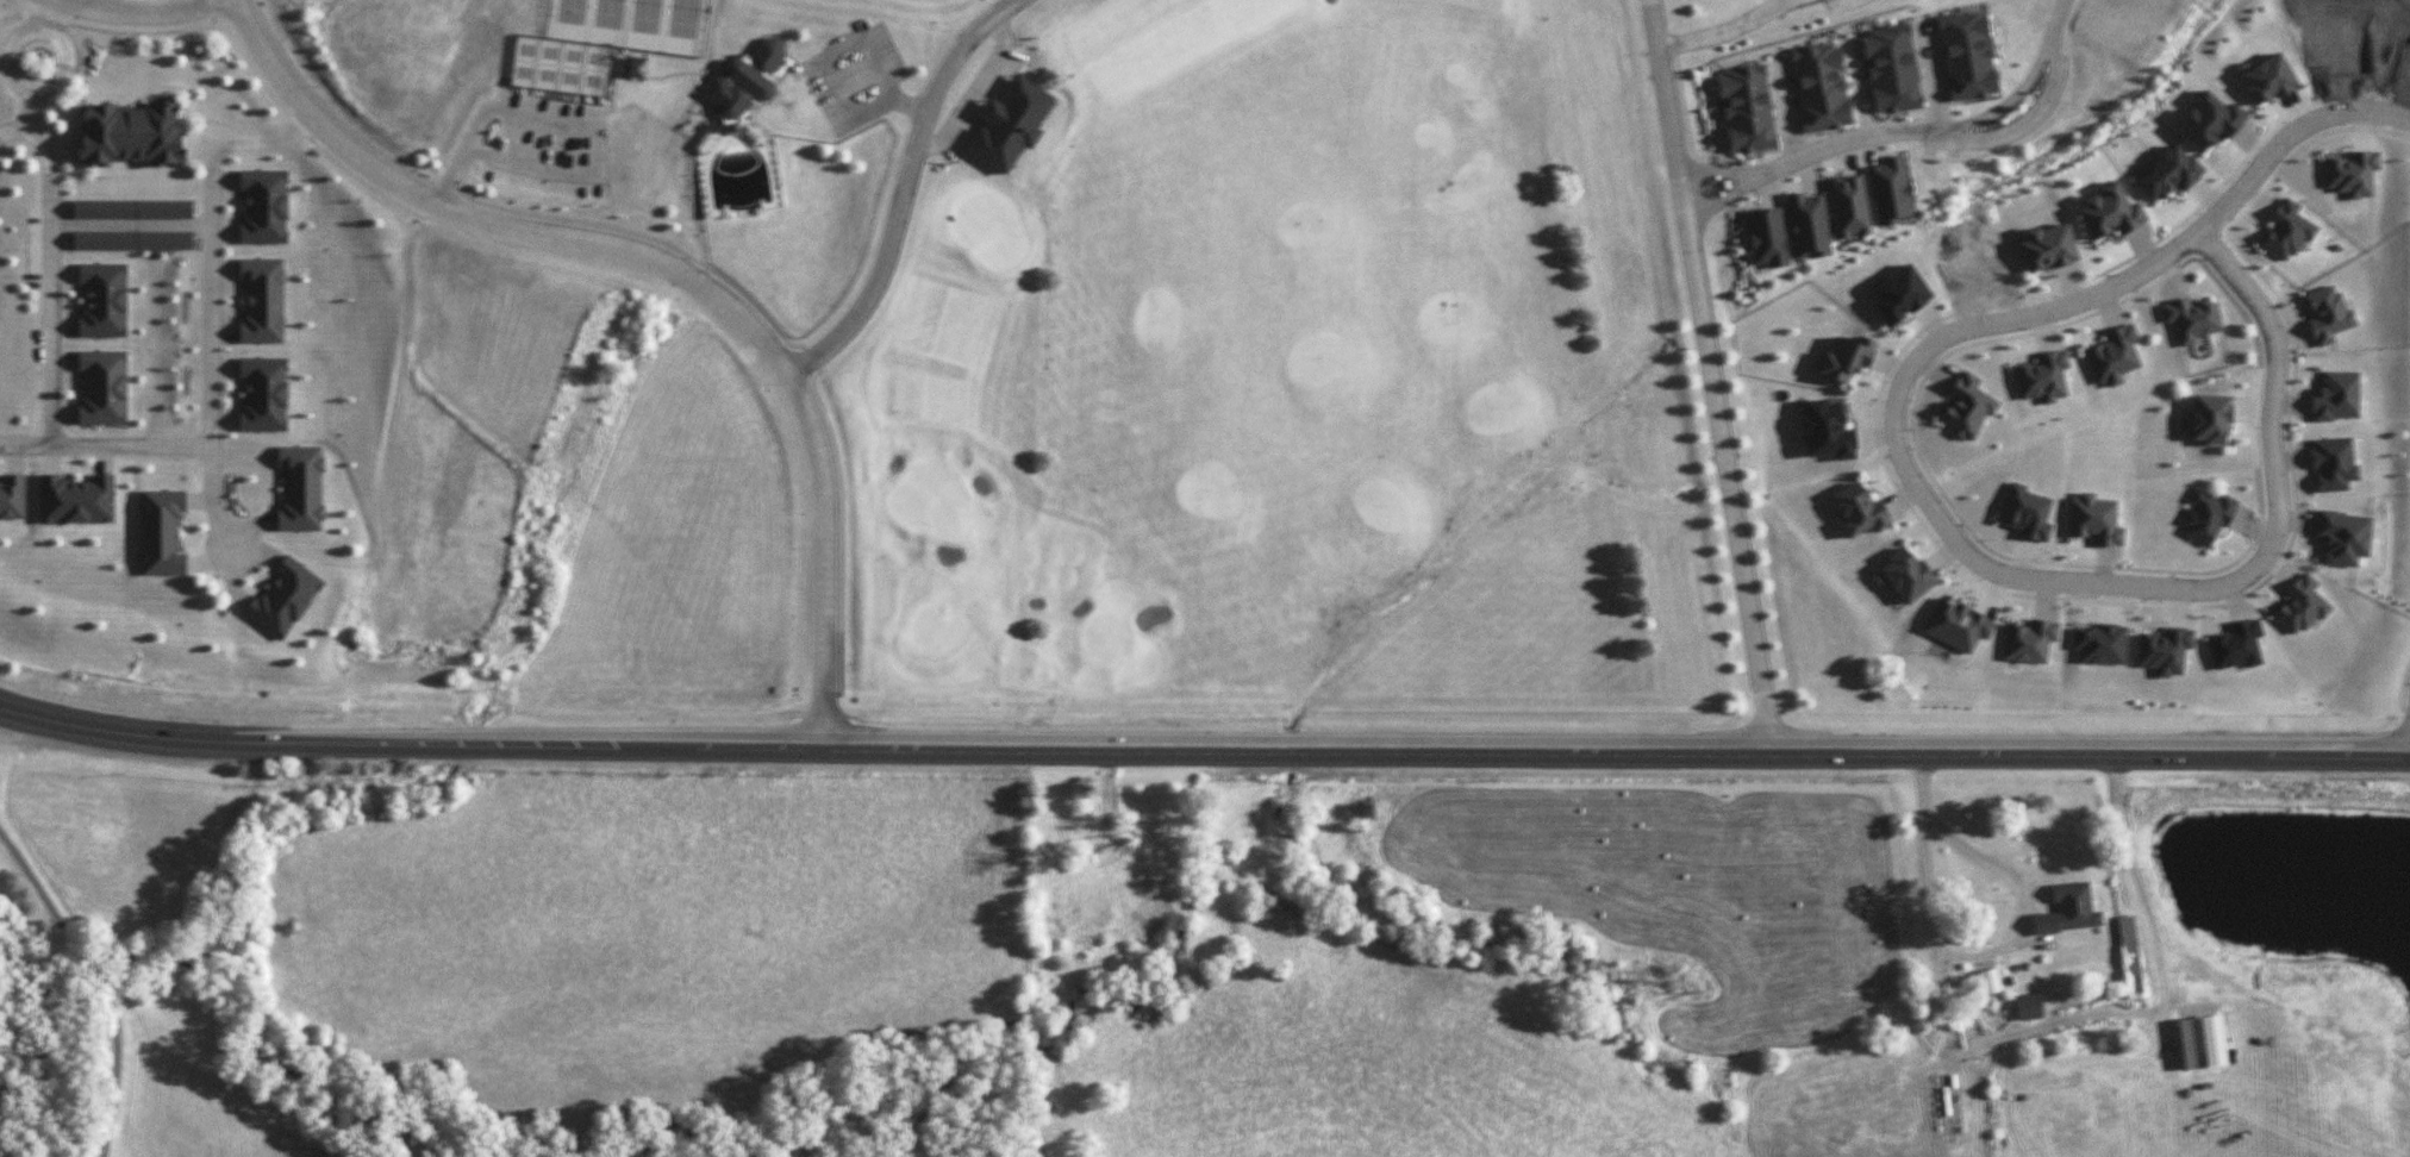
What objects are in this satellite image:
road: (105, 6)
road: (51, 13)
road: (143, 13)
road: (1724, 26)
road: (6, 48)
road: (833, 49)
building: (1966, 55)
building: (1891, 68)
building: (2267, 77)
road: (857, 79)
building: (749, 81)
road: (982, 95)
road: (2010, 96)
building: (1746, 107)
road: (23, 119)
building: (2209, 119)
building: (1011, 121)
building: (130, 133)
road: (1955, 135)
road: (2285, 135)
road: (251, 140)
road: (1715, 170)
building: (2168, 173)
building: (2352, 173)
road: (145, 187)
road: (901, 188)
building: (1888, 190)
road: (1722, 200)
building: (263, 205)
building: (1848, 206)
building: (131, 208)
building: (2109, 211)
building: (1806, 225)
building: (2287, 230)
building: (1766, 237)
building: (131, 239)
building: (2047, 246)
road: (670, 269)
road: (50, 280)
building: (1898, 293)
road: (208, 294)
building: (104, 298)
building: (262, 300)
building: (2328, 313)
building: (2191, 318)
building: (2114, 355)
building: (1844, 357)
road: (1707, 371)
building: (2042, 376)
park: (1294, 382)
building: (102, 386)
building: (263, 393)
building: (2336, 395)
building: (1966, 406)
building: (2210, 417)
building: (1827, 429)
road: (111, 446)
building: (2333, 462)
building: (301, 487)
building: (12, 495)
building: (77, 499)
road: (211, 509)
building: (1859, 509)
building: (2025, 511)
building: (2205, 514)
building: (2093, 518)
building: (161, 531)
building: (2342, 536)
building: (1905, 575)
road: (2025, 578)
building: (283, 596)
building: (2300, 603)
building: (1955, 624)
building: (2028, 640)
building: (2098, 643)
building: (2236, 644)
building: (2164, 649)
road: (1203, 746)
road: (2134, 874)
building: (2067, 908)
building: (2127, 933)
road: (1968, 955)
building: (1988, 980)
road: (98, 981)
building: (2028, 1005)
building: (2200, 1040)

